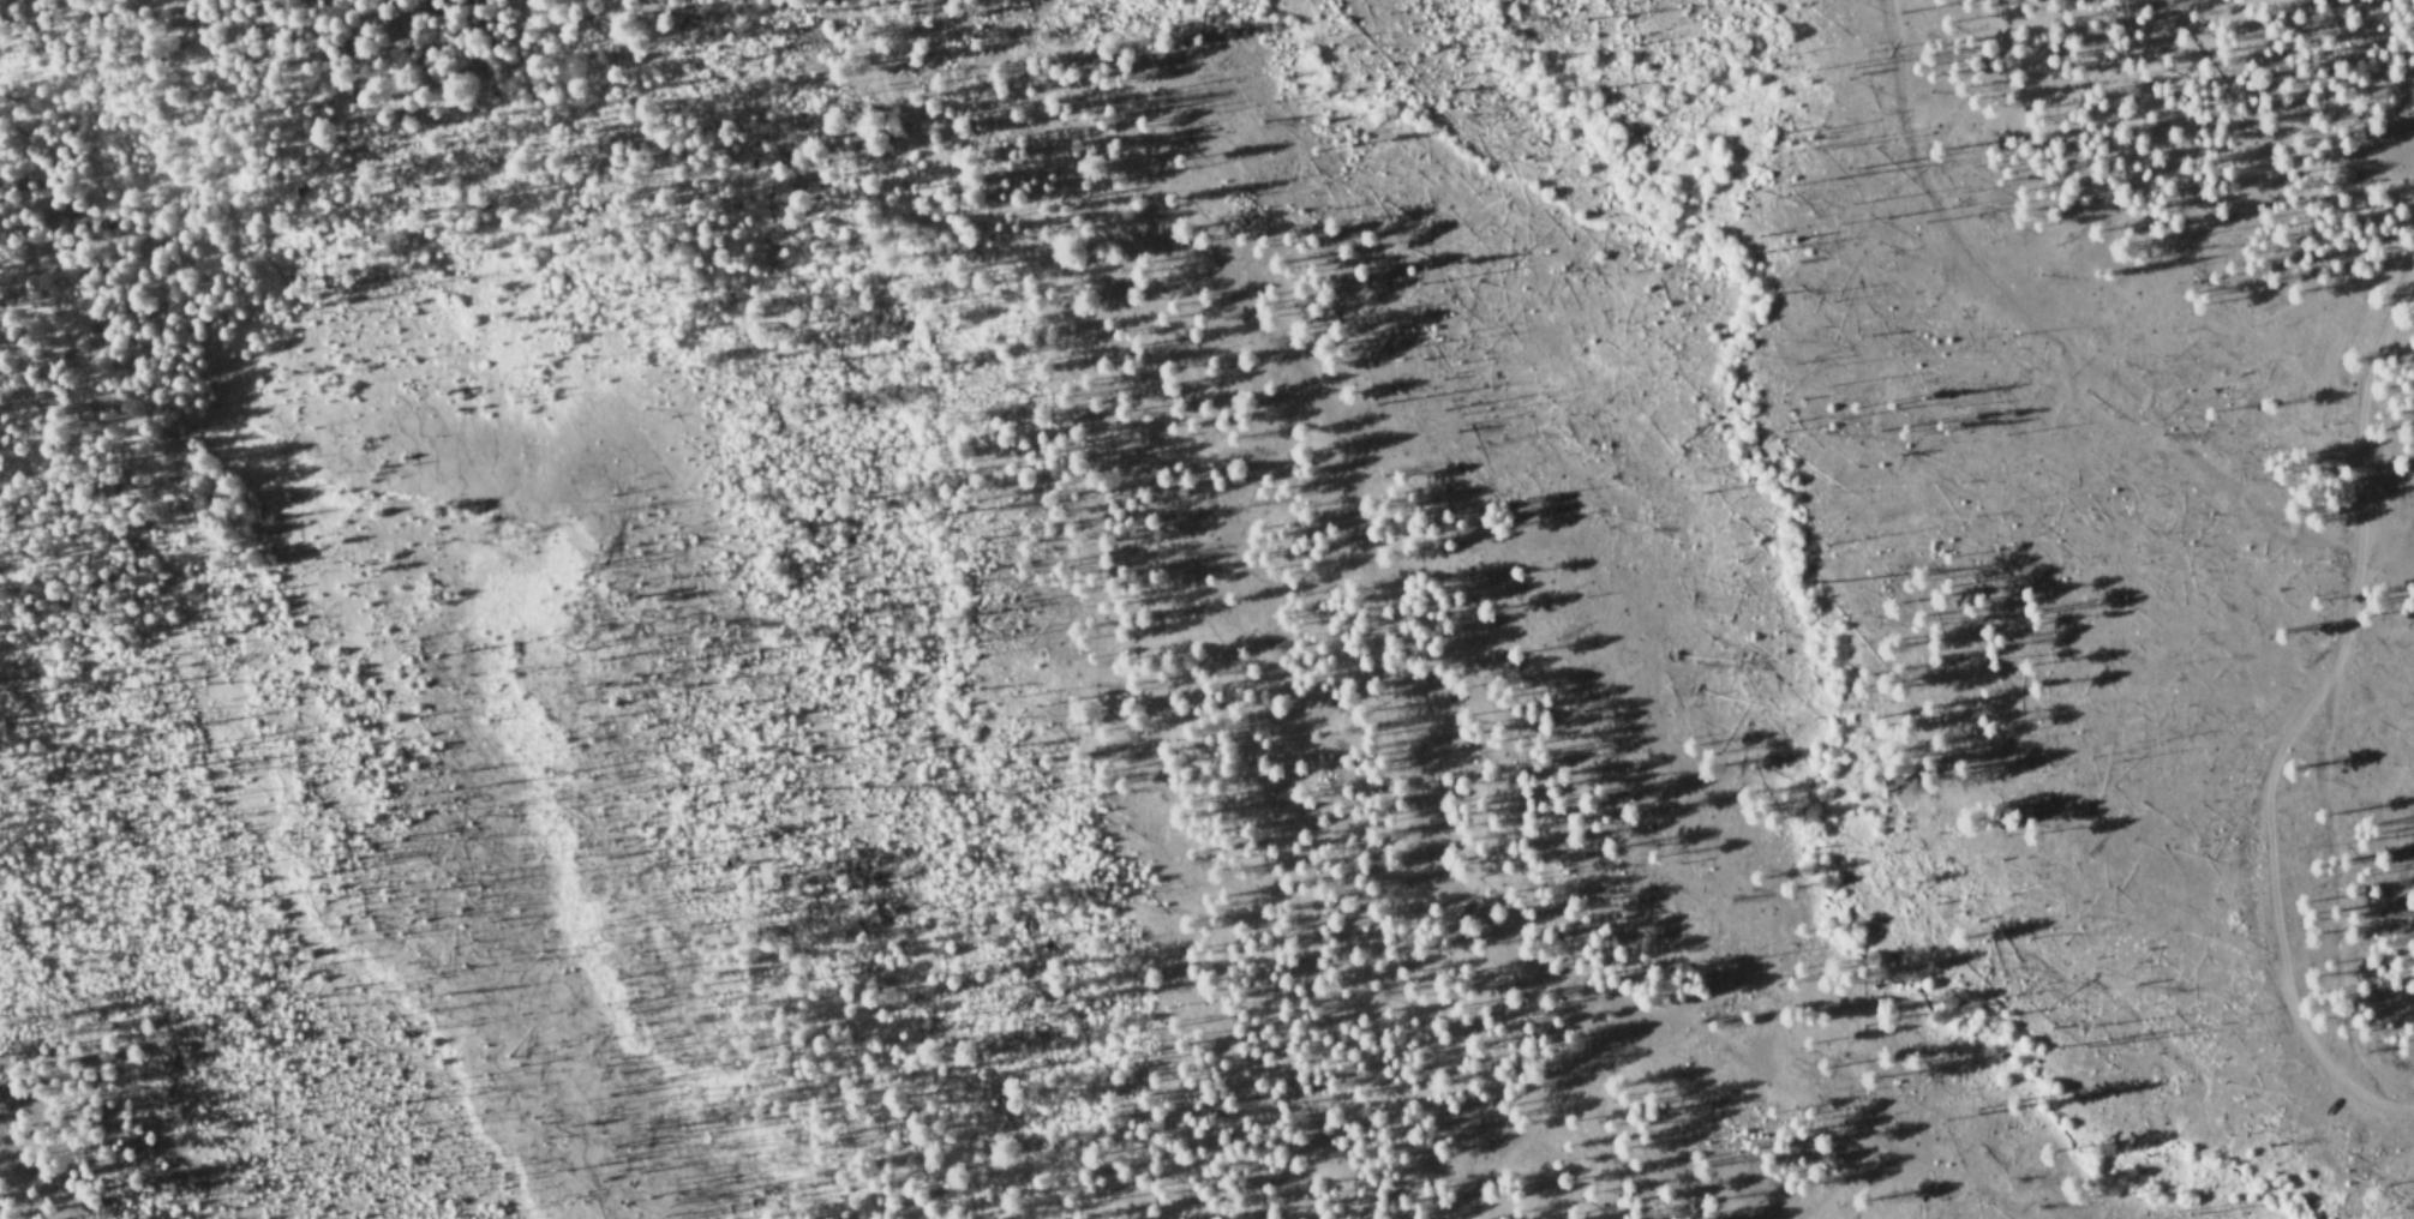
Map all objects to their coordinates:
road: (2307, 516)

